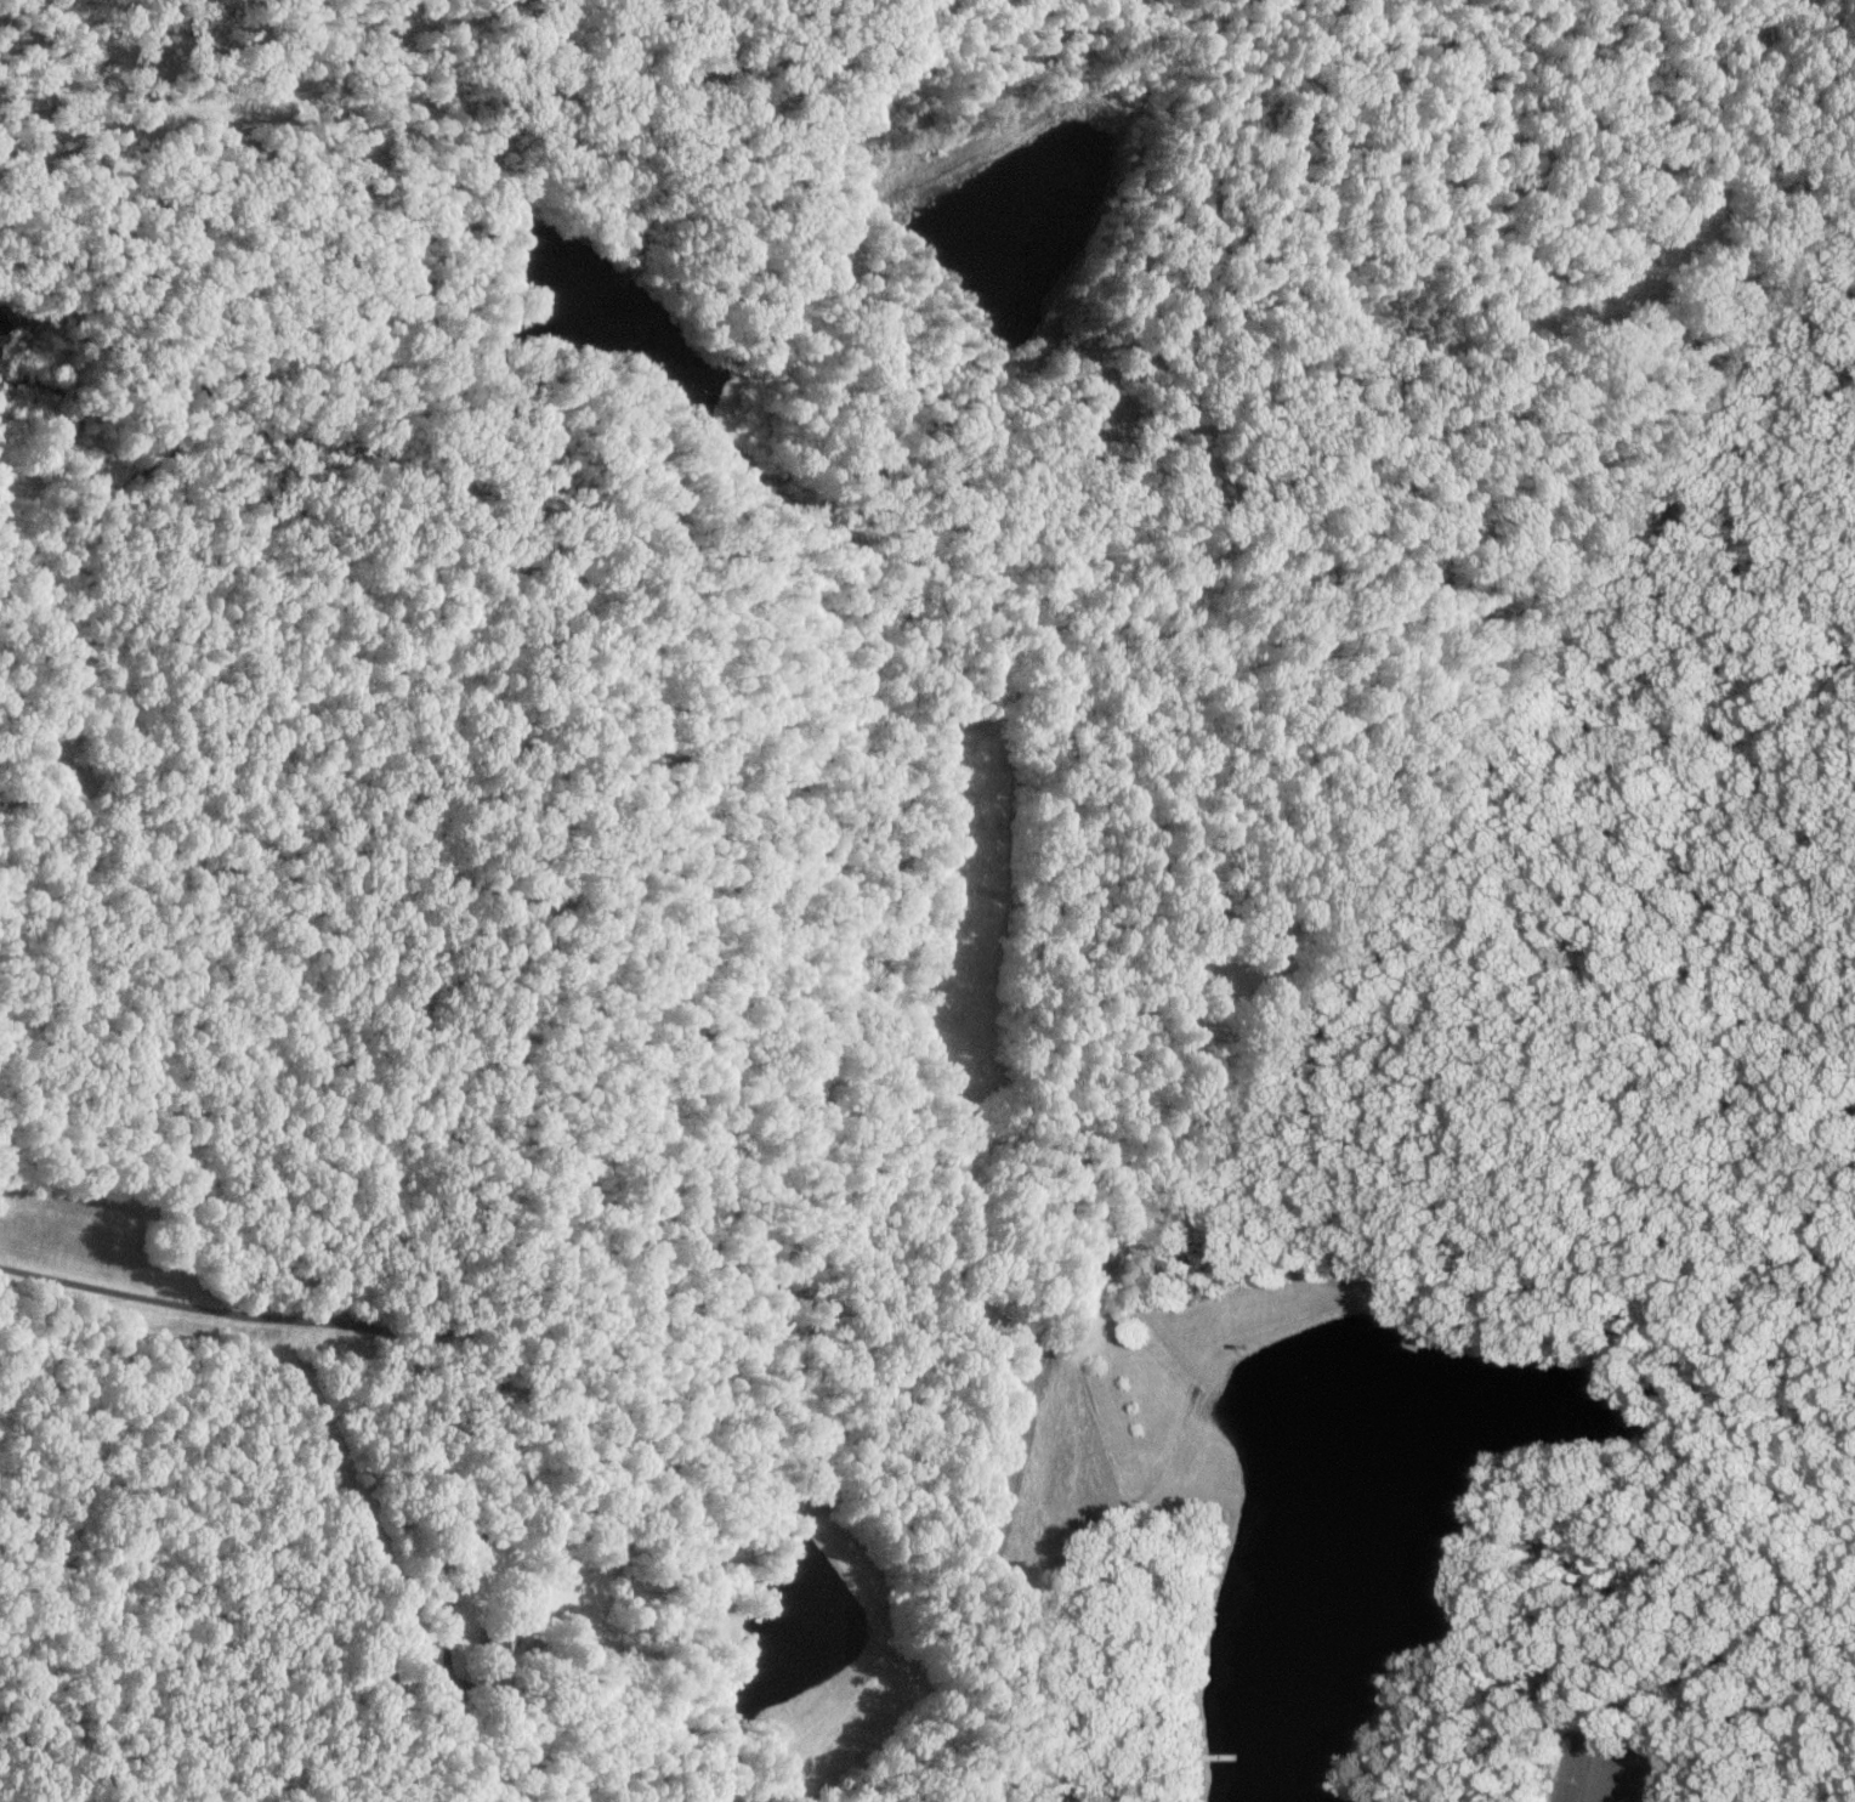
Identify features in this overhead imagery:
road: (166, 1302)

